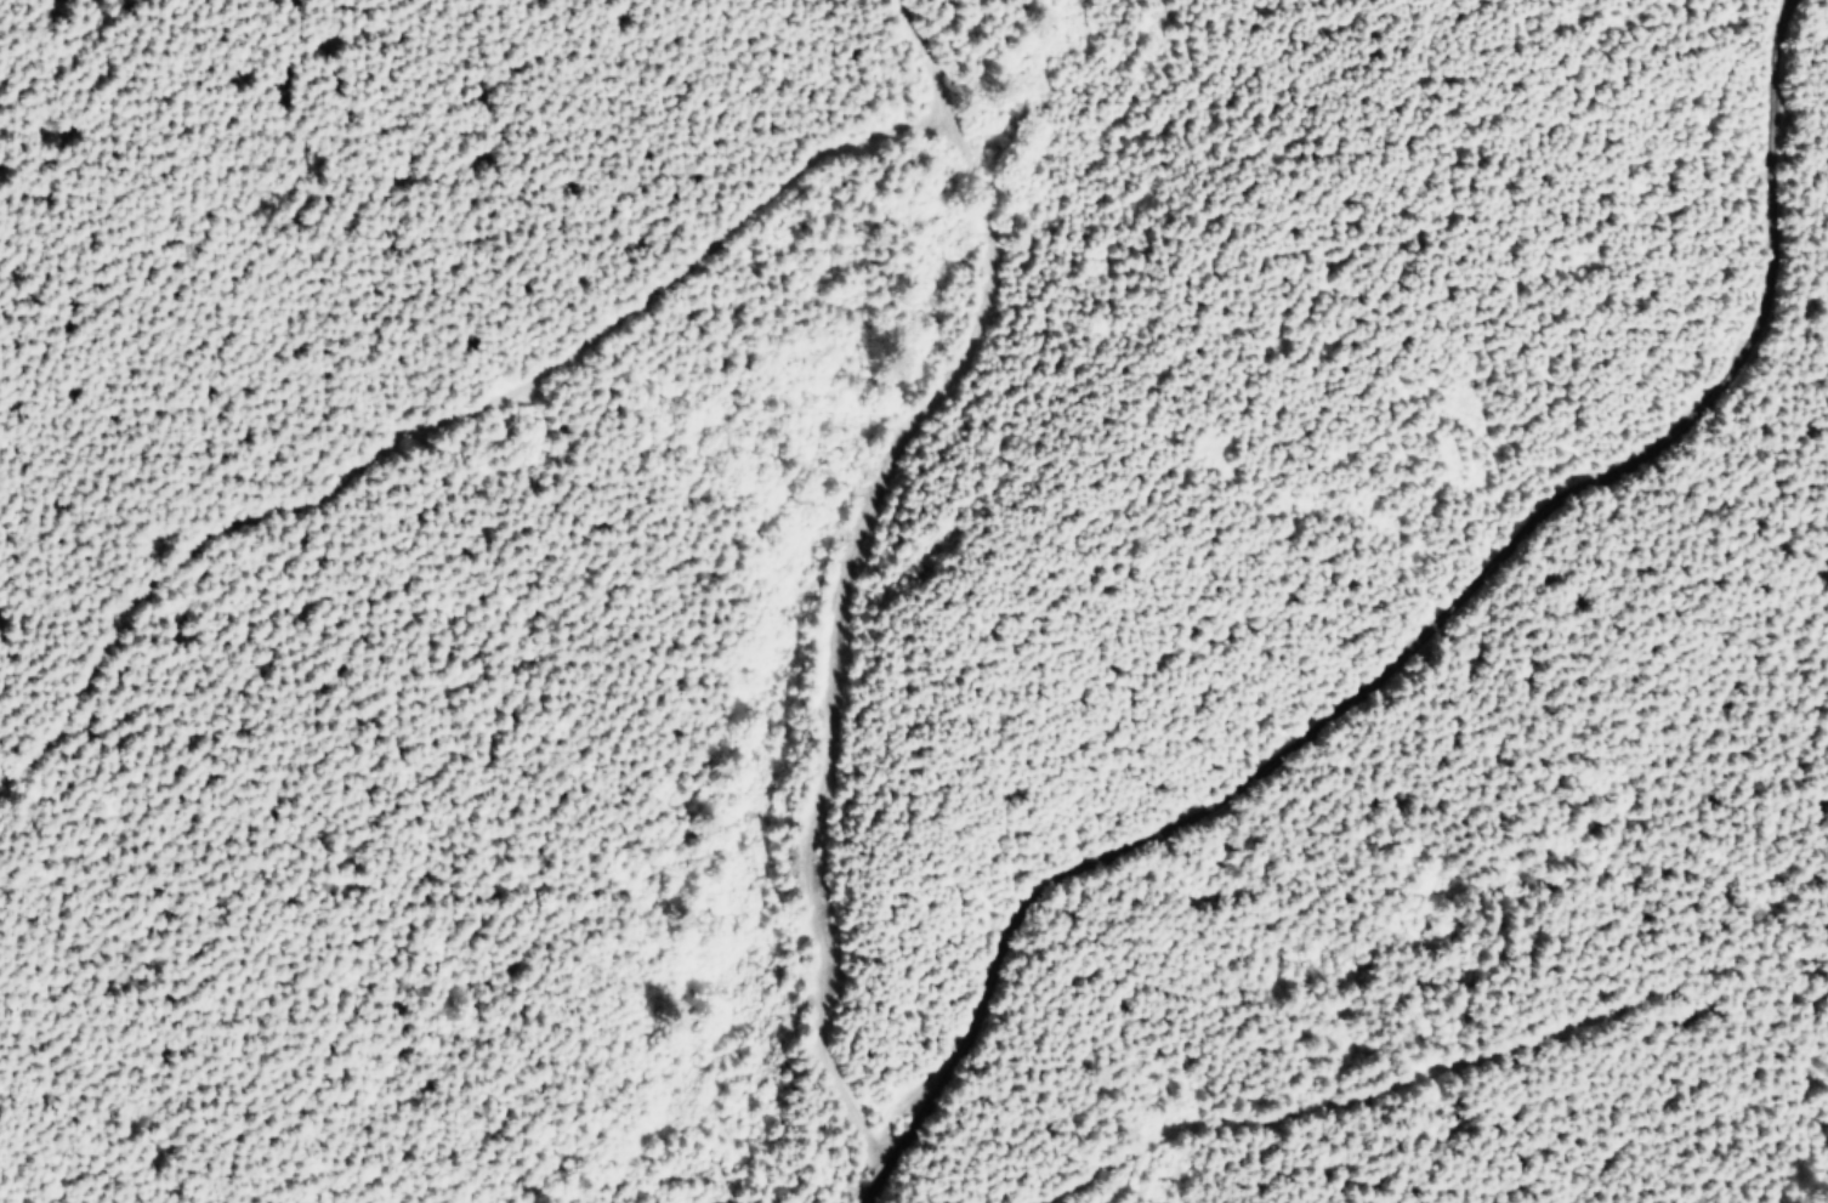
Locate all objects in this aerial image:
road: (902, 69)
road: (897, 141)
road: (1380, 637)

